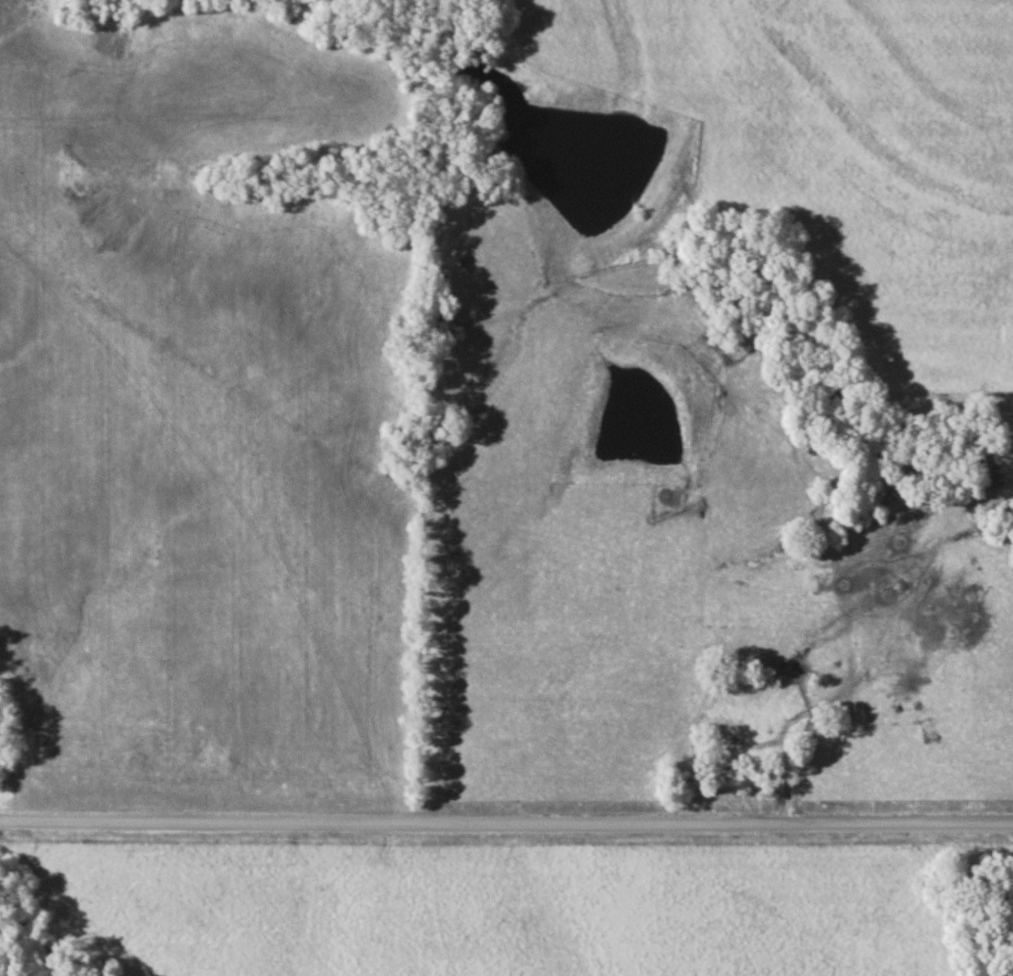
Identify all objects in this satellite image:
road: (506, 824)

